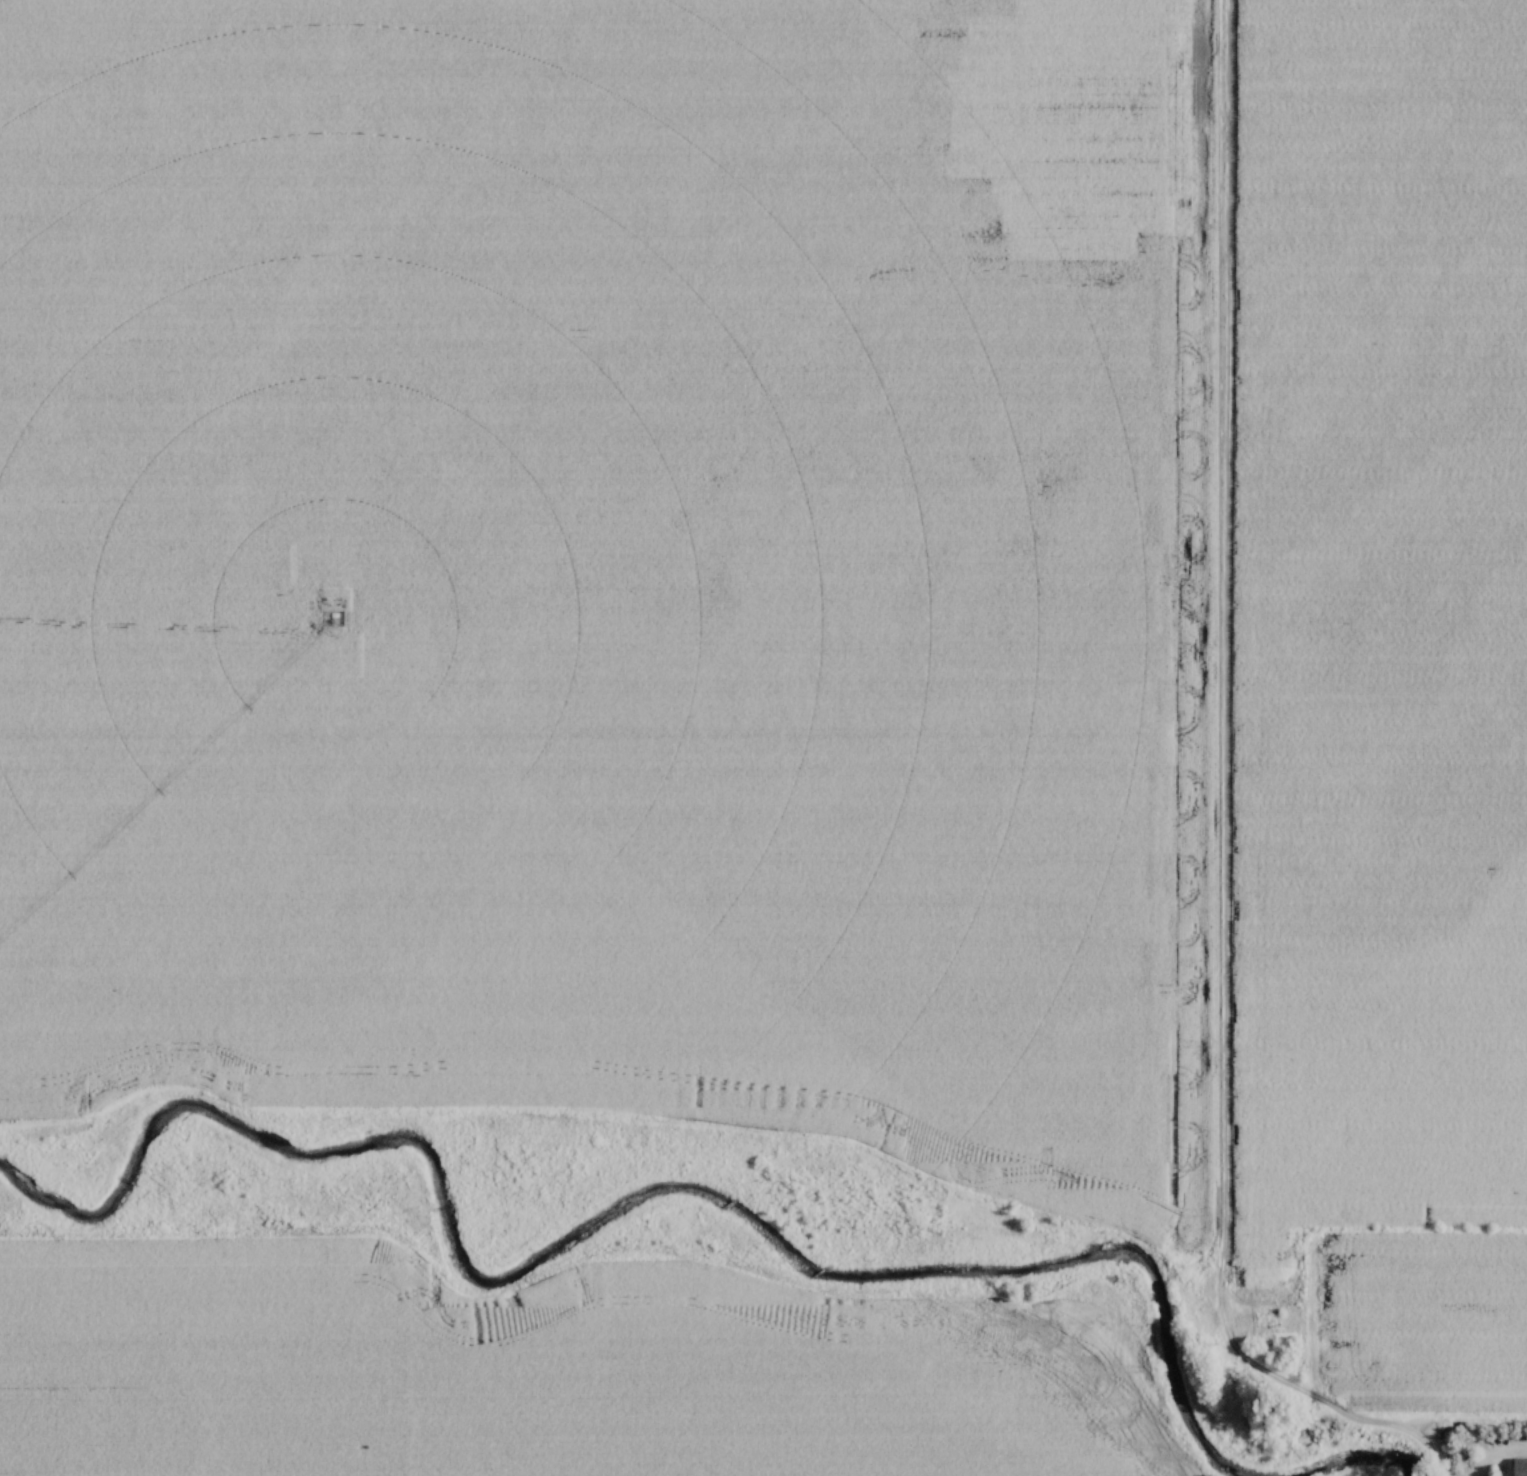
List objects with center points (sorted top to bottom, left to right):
building: (1260, 1340)
building: (1286, 1340)
building: (1521, 1467)

